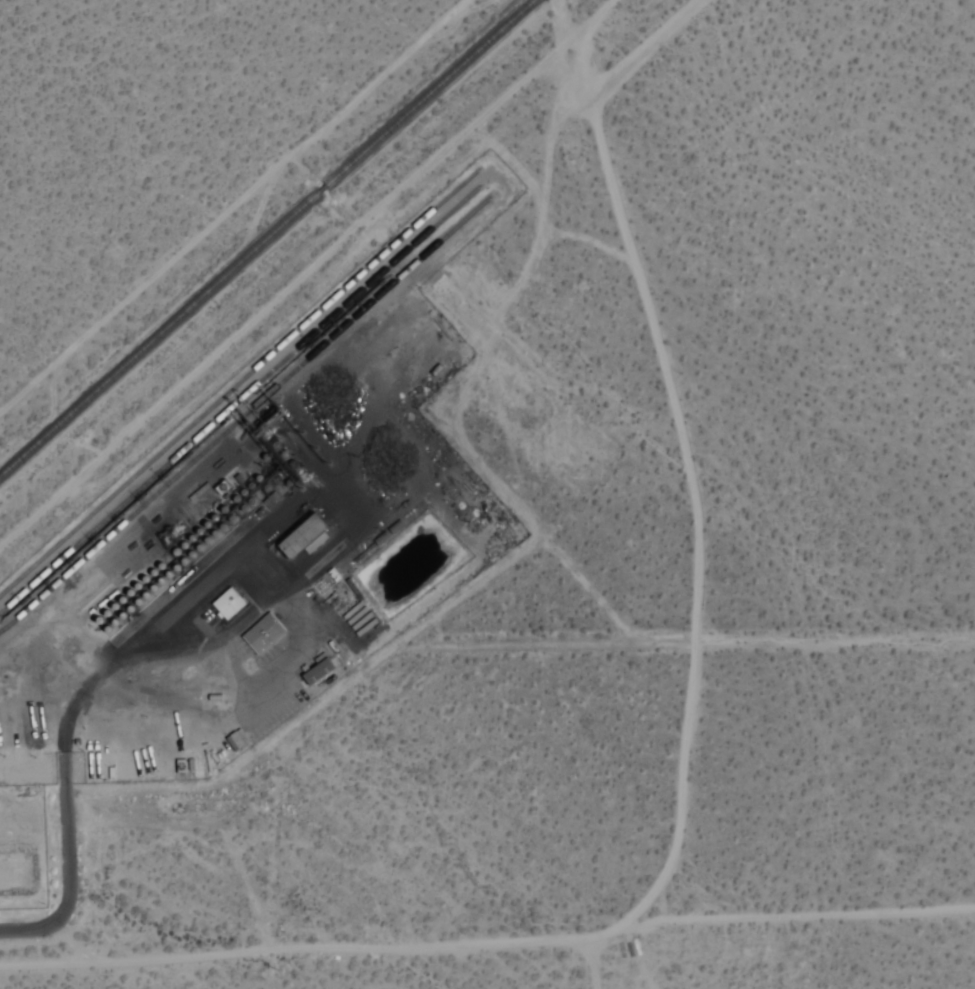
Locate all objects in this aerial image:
railway: (268, 238)
railway: (188, 447)
railway: (194, 461)
building: (297, 536)
building: (226, 604)
building: (261, 634)
building: (314, 671)
road: (67, 869)
road: (488, 942)
road: (77, 945)
road: (589, 963)

